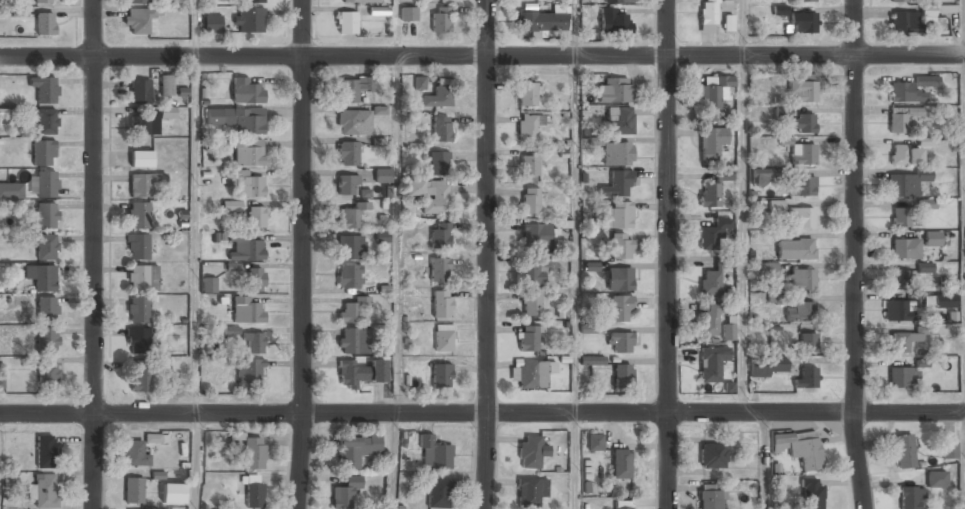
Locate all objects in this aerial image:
building: (255, 0)
building: (358, 0)
building: (896, 0)
building: (45, 1)
building: (137, 1)
building: (617, 1)
building: (804, 1)
building: (779, 10)
building: (939, 10)
building: (408, 13)
building: (707, 15)
building: (248, 19)
building: (440, 19)
building: (139, 21)
building: (614, 21)
building: (347, 22)
building: (541, 22)
building: (903, 22)
building: (212, 23)
building: (802, 23)
building: (45, 24)
road: (195, 28)
road: (574, 28)
road: (742, 28)
road: (482, 56)
building: (419, 83)
building: (166, 85)
building: (44, 88)
building: (352, 88)
building: (615, 89)
building: (802, 89)
building: (911, 89)
building: (140, 91)
building: (246, 91)
building: (526, 94)
building: (437, 96)
building: (711, 98)
building: (379, 110)
building: (782, 111)
building: (899, 119)
building: (238, 120)
building: (619, 120)
building: (45, 121)
building: (149, 121)
building: (347, 122)
building: (802, 124)
building: (441, 128)
building: (527, 128)
building: (785, 141)
building: (926, 141)
building: (711, 142)
building: (248, 152)
building: (44, 153)
building: (348, 153)
building: (617, 153)
building: (802, 154)
building: (904, 155)
building: (141, 159)
building: (438, 162)
building: (529, 166)
building: (383, 176)
building: (764, 176)
building: (143, 183)
building: (905, 183)
building: (43, 184)
building: (617, 184)
building: (251, 185)
building: (347, 185)
building: (801, 186)
building: (11, 190)
building: (711, 192)
building: (430, 195)
building: (530, 198)
building: (927, 204)
building: (231, 206)
building: (776, 207)
building: (620, 214)
building: (138, 215)
building: (46, 216)
building: (256, 216)
building: (349, 217)
building: (800, 217)
building: (903, 217)
road: (196, 234)
road: (398, 234)
road: (743, 234)
building: (535, 235)
building: (712, 235)
building: (440, 236)
building: (932, 238)
building: (137, 246)
building: (350, 246)
building: (620, 246)
building: (245, 247)
building: (46, 248)
building: (905, 248)
building: (795, 249)
road: (92, 254)
road: (302, 254)
road: (486, 254)
road: (665, 254)
road: (853, 254)
building: (925, 268)
building: (439, 269)
building: (533, 269)
building: (765, 270)
building: (349, 275)
building: (40, 277)
building: (140, 278)
building: (256, 279)
building: (619, 279)
building: (802, 279)
building: (901, 280)
road: (575, 282)
building: (709, 283)
building: (209, 284)
building: (945, 301)
building: (441, 302)
building: (531, 304)
building: (46, 308)
building: (352, 308)
building: (620, 308)
building: (247, 309)
building: (138, 310)
building: (897, 311)
building: (799, 312)
building: (709, 320)
building: (590, 329)
building: (231, 331)
building: (728, 332)
building: (443, 337)
building: (528, 339)
building: (903, 339)
building: (138, 340)
building: (46, 341)
building: (352, 341)
building: (620, 341)
building: (254, 342)
building: (807, 342)
building: (592, 360)
building: (711, 364)
building: (768, 365)
building: (249, 373)
building: (360, 373)
building: (48, 374)
building: (441, 374)
building: (531, 374)
building: (622, 377)
building: (901, 377)
building: (807, 378)
building: (141, 379)
road: (482, 413)
building: (135, 434)
building: (155, 439)
building: (595, 442)
building: (356, 450)
building: (799, 450)
building: (949, 450)
building: (46, 451)
building: (529, 451)
building: (903, 451)
building: (254, 453)
building: (434, 453)
building: (135, 454)
building: (712, 455)
road: (194, 461)
road: (391, 461)
road: (767, 461)
building: (620, 463)
building: (936, 480)
building: (133, 490)
building: (45, 491)
building: (253, 492)
building: (345, 492)
building: (437, 492)
building: (528, 492)
building: (173, 493)
building: (812, 493)
building: (910, 498)
building: (710, 499)
building: (623, 507)

